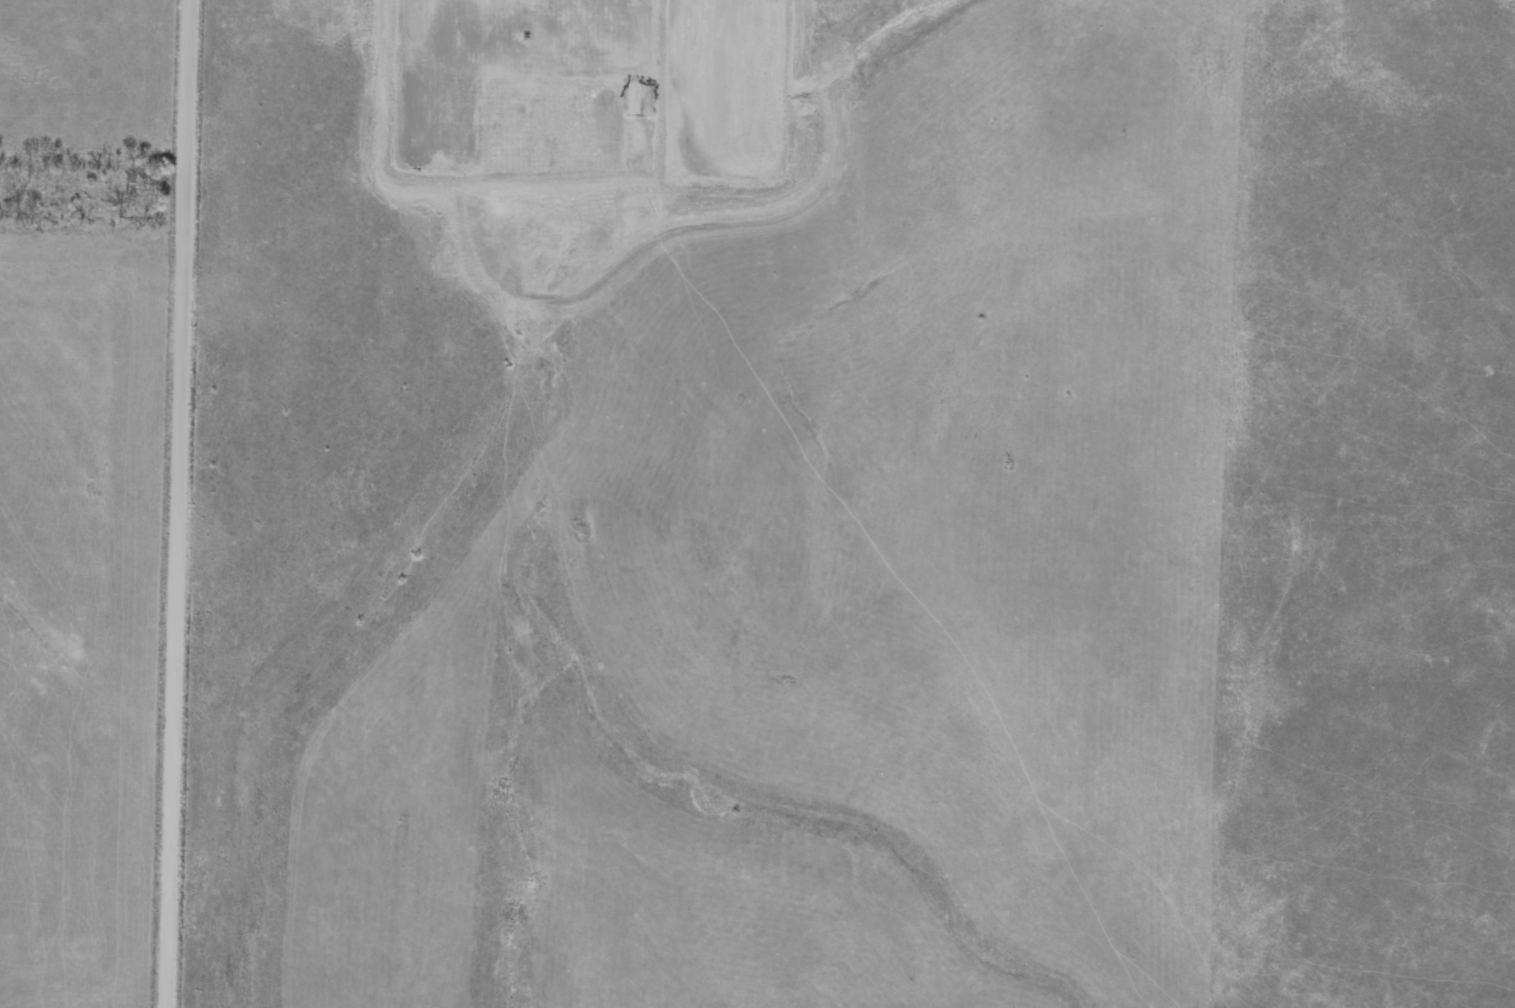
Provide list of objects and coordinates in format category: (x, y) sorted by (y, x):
road: (177, 503)

